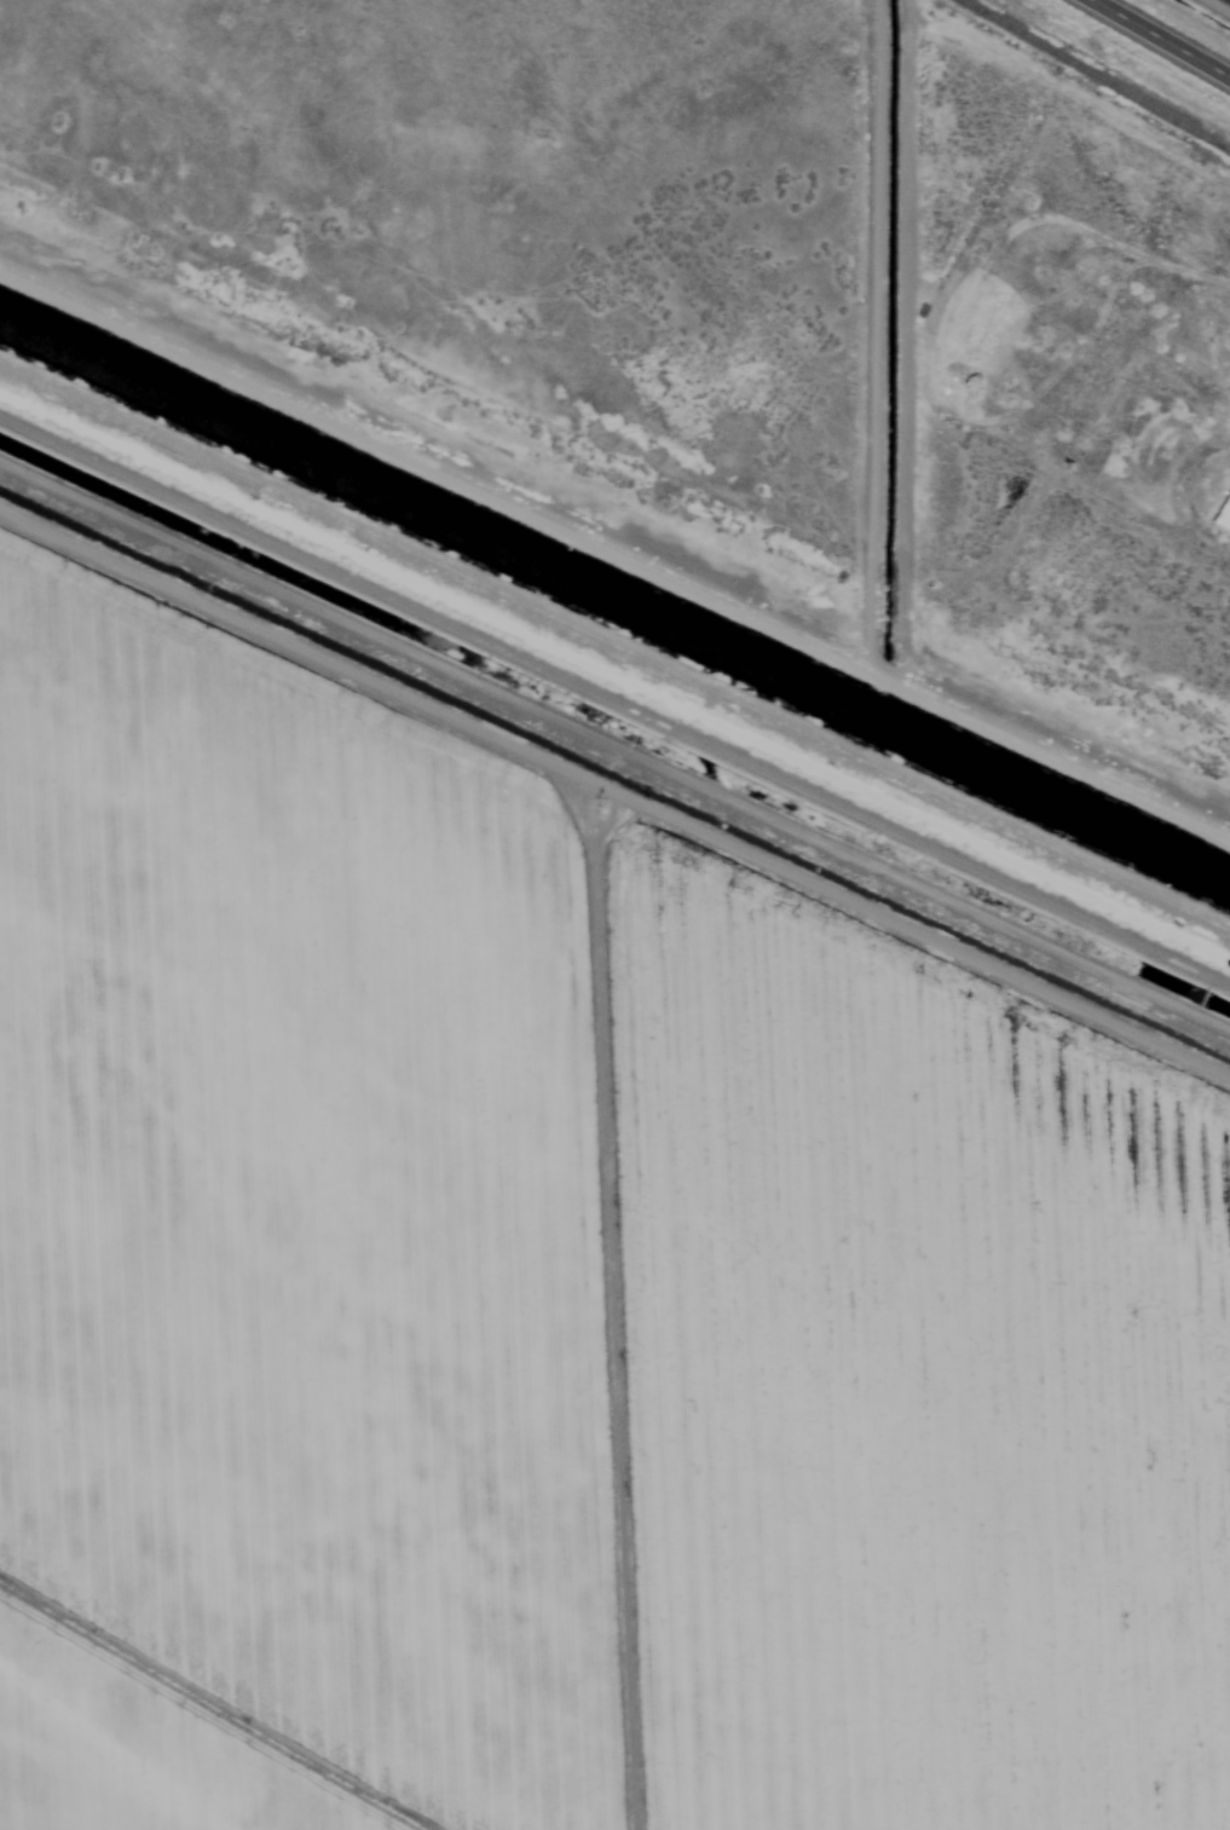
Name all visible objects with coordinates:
crop: (1199, 17)
road: (1168, 34)
railway: (1096, 75)
road: (614, 491)
building: (1223, 513)
road: (617, 726)
crop: (555, 1307)

